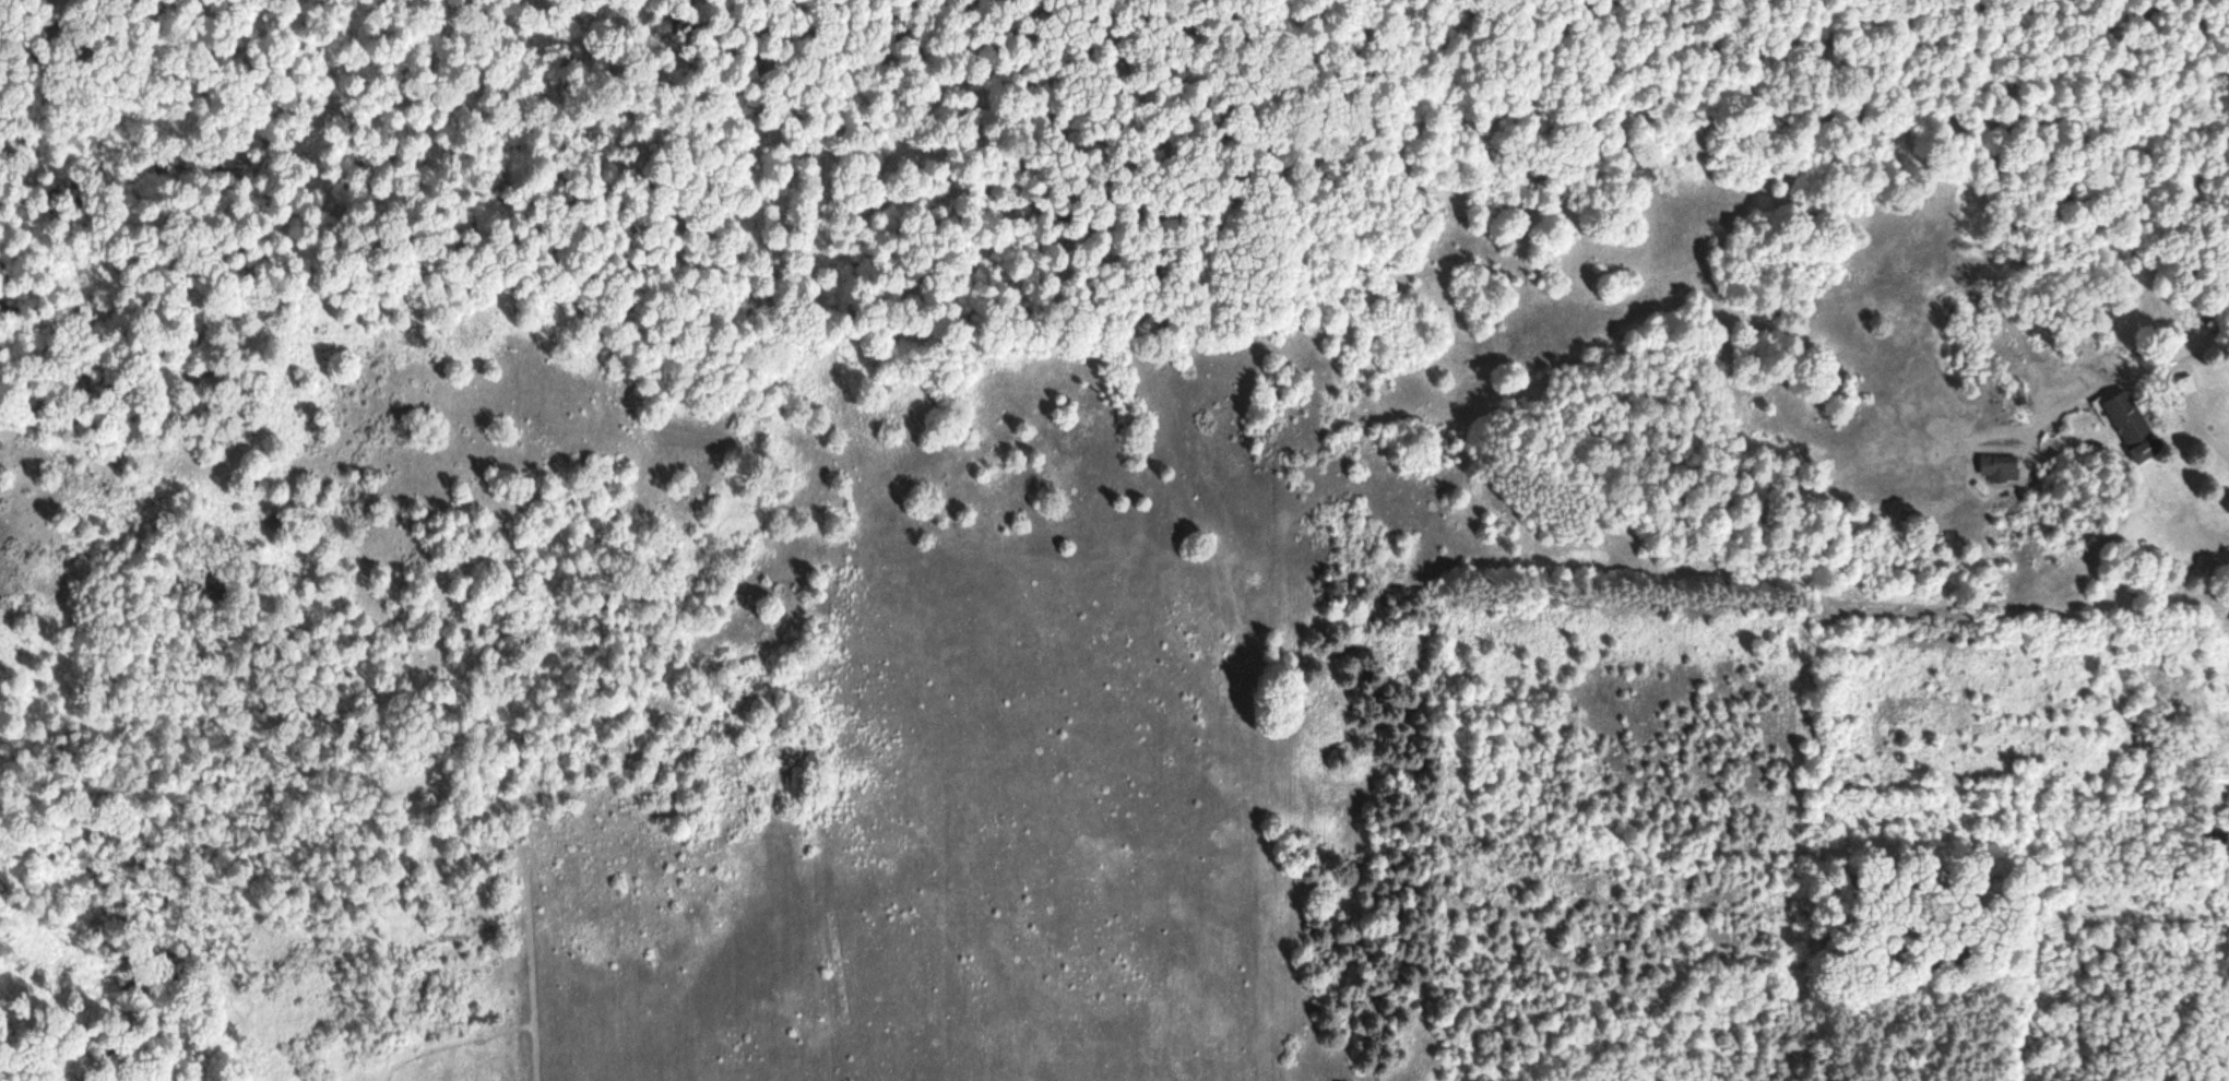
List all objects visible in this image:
building: (2189, 384)
building: (2134, 426)
building: (2000, 467)
building: (2221, 773)
building: (2219, 842)

